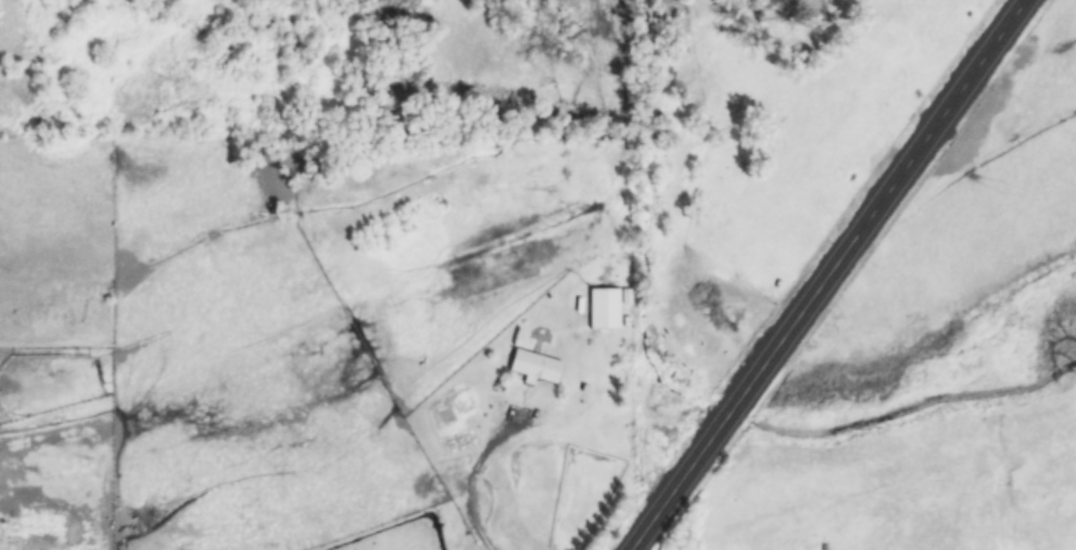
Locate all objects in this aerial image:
crop: (537, 274)
road: (824, 274)
building: (603, 309)
building: (533, 367)

